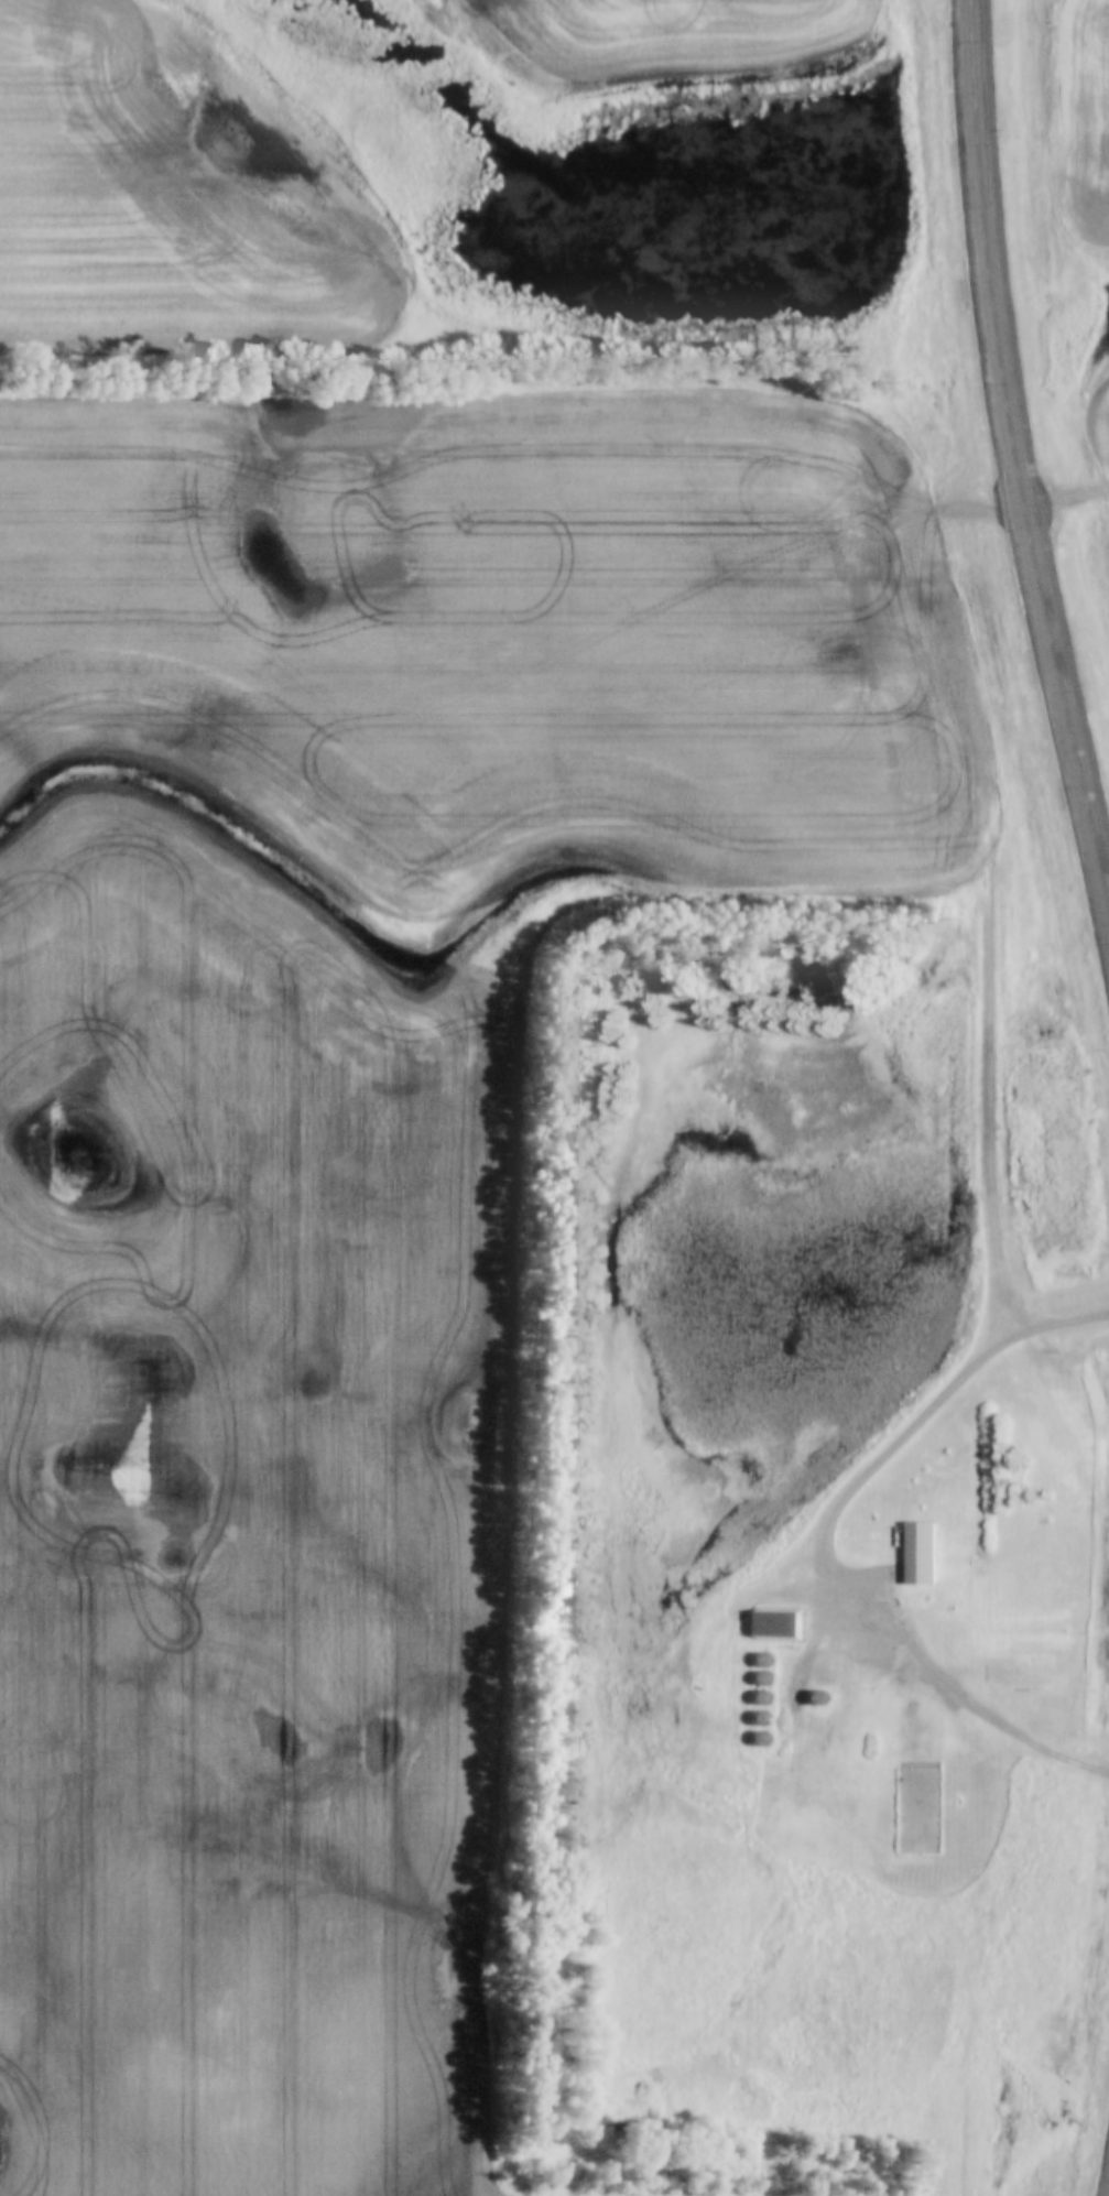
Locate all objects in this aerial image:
road: (1018, 448)
road: (992, 1102)
road: (826, 1540)
building: (923, 1553)
building: (780, 1623)
building: (819, 1697)
building: (903, 1778)

